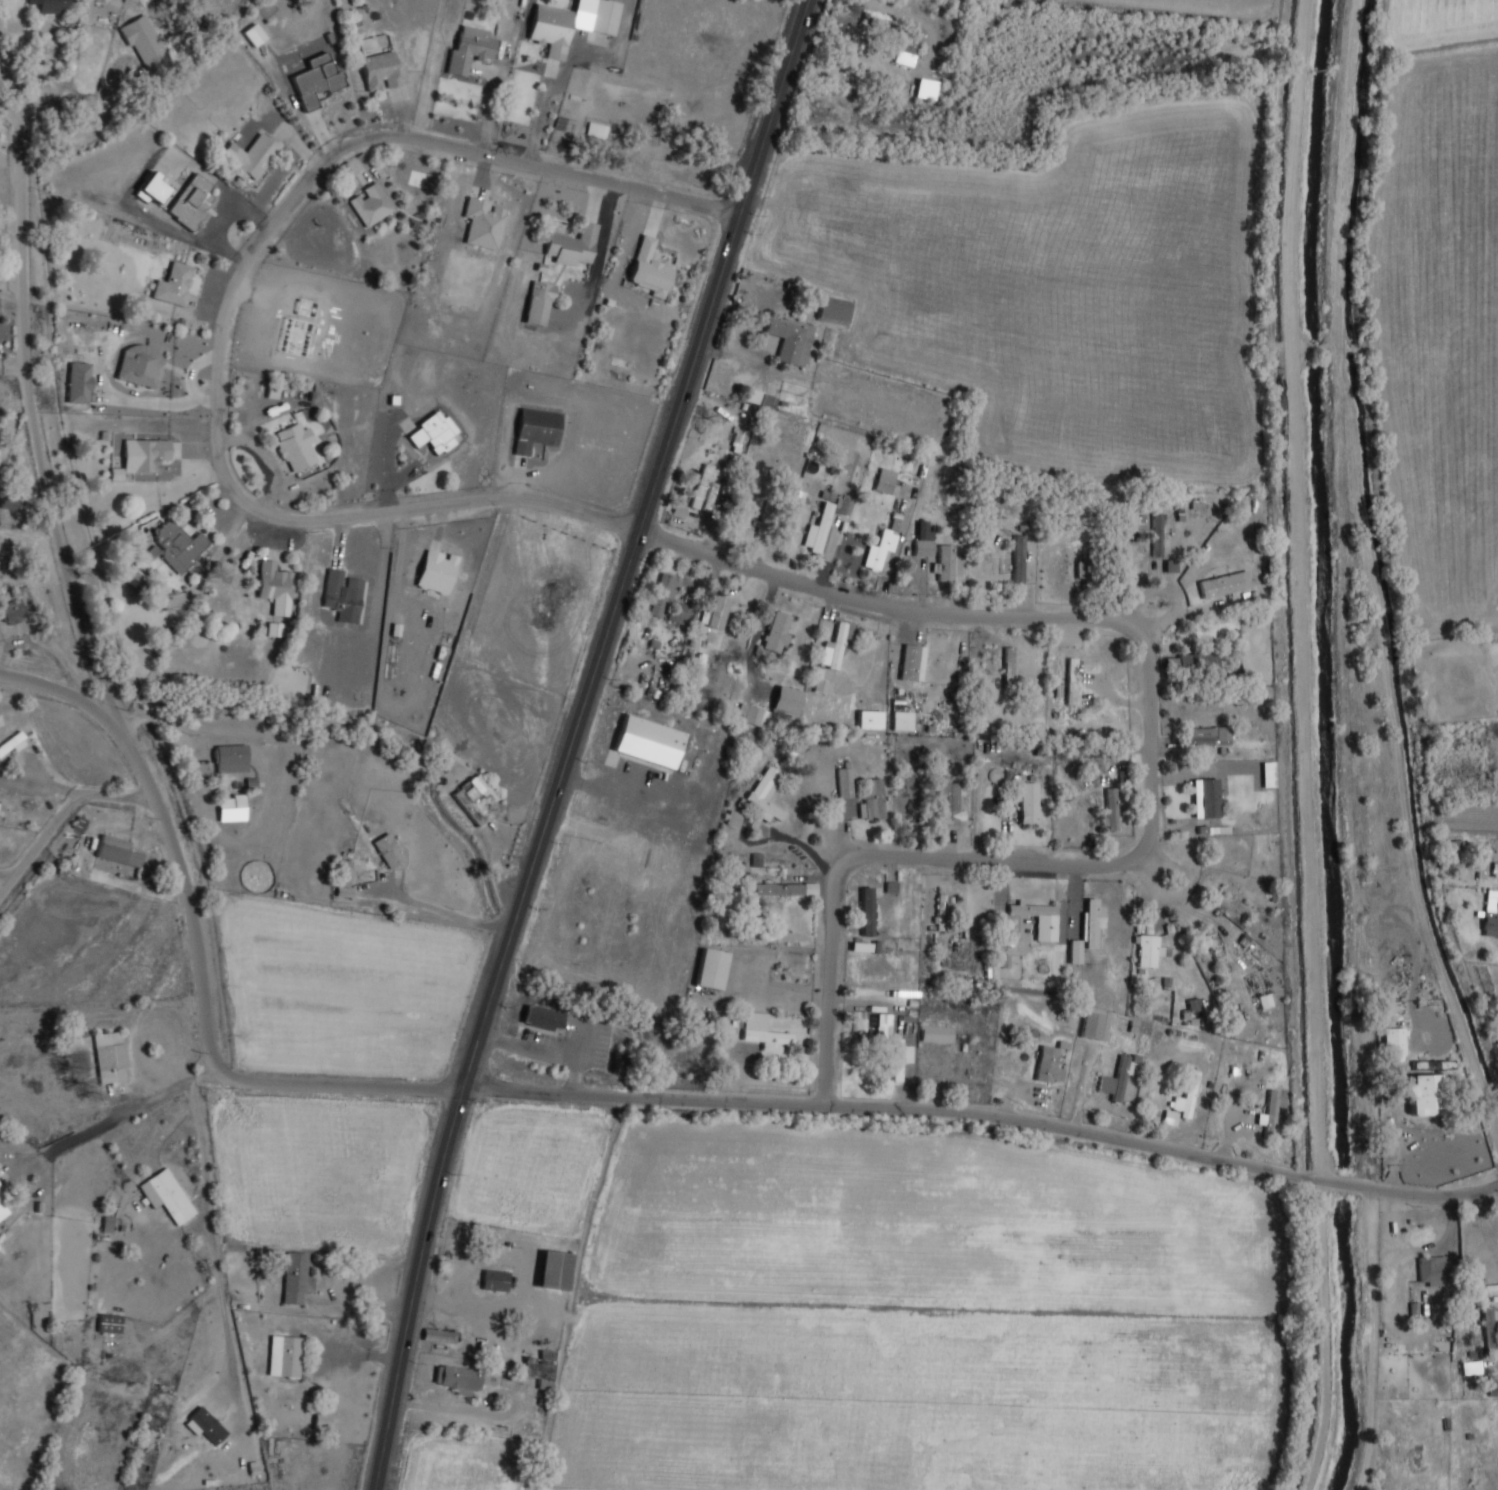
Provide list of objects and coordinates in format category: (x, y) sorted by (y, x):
building: (52, 6)
building: (603, 16)
building: (847, 17)
building: (553, 31)
building: (147, 46)
building: (910, 47)
building: (472, 51)
building: (384, 73)
road: (15, 82)
building: (317, 83)
road: (9, 113)
building: (595, 130)
building: (558, 143)
building: (253, 158)
building: (641, 160)
building: (153, 189)
building: (193, 204)
building: (373, 206)
building: (484, 225)
building: (574, 246)
building: (652, 269)
building: (174, 284)
building: (538, 303)
road: (224, 309)
building: (833, 310)
building: (791, 339)
building: (141, 365)
building: (79, 383)
road: (37, 428)
building: (537, 429)
building: (436, 433)
building: (297, 445)
building: (146, 456)
building: (885, 481)
building: (703, 486)
building: (713, 497)
building: (991, 512)
building: (768, 515)
building: (820, 530)
building: (1158, 533)
building: (925, 540)
building: (177, 546)
building: (880, 551)
building: (1021, 558)
building: (949, 564)
building: (1093, 570)
building: (438, 572)
building: (1227, 585)
building: (276, 587)
building: (665, 594)
building: (345, 597)
building: (13, 611)
building: (716, 613)
building: (274, 630)
building: (779, 633)
building: (838, 644)
building: (1198, 662)
building: (915, 663)
building: (991, 670)
building: (1074, 682)
road: (70, 692)
building: (785, 703)
building: (752, 716)
building: (869, 720)
building: (1211, 737)
road: (574, 739)
building: (651, 743)
building: (14, 744)
building: (231, 757)
road: (1152, 760)
building: (1268, 775)
building: (846, 780)
building: (764, 794)
building: (478, 799)
building: (1208, 799)
building: (874, 801)
building: (1031, 802)
building: (951, 804)
building: (231, 808)
building: (1113, 811)
road: (63, 814)
building: (734, 819)
building: (120, 851)
building: (390, 851)
building: (782, 890)
building: (1236, 898)
building: (947, 913)
building: (869, 915)
building: (1040, 919)
building: (1094, 922)
building: (1491, 924)
building: (1217, 949)
building: (1151, 951)
building: (1075, 952)
building: (710, 970)
building: (1265, 1002)
road: (206, 1015)
building: (544, 1019)
building: (859, 1022)
building: (884, 1025)
building: (1095, 1027)
building: (764, 1033)
building: (936, 1034)
building: (1394, 1043)
road: (543, 1052)
building: (111, 1058)
building: (900, 1061)
building: (1433, 1066)
building: (1049, 1067)
road: (195, 1079)
building: (1119, 1082)
building: (1427, 1095)
building: (1189, 1099)
building: (1271, 1114)
road: (985, 1115)
road: (122, 1117)
building: (0, 1185)
building: (0, 1187)
road: (1497, 1188)
building: (1, 1196)
building: (168, 1196)
building: (3, 1212)
road: (214, 1223)
building: (552, 1270)
building: (1436, 1271)
building: (295, 1280)
building: (494, 1281)
building: (109, 1326)
building: (1491, 1327)
road: (230, 1329)
building: (437, 1336)
building: (289, 1356)
building: (542, 1368)
building: (460, 1380)
building: (1490, 1387)
building: (321, 1421)
building: (208, 1426)
building: (248, 1470)

